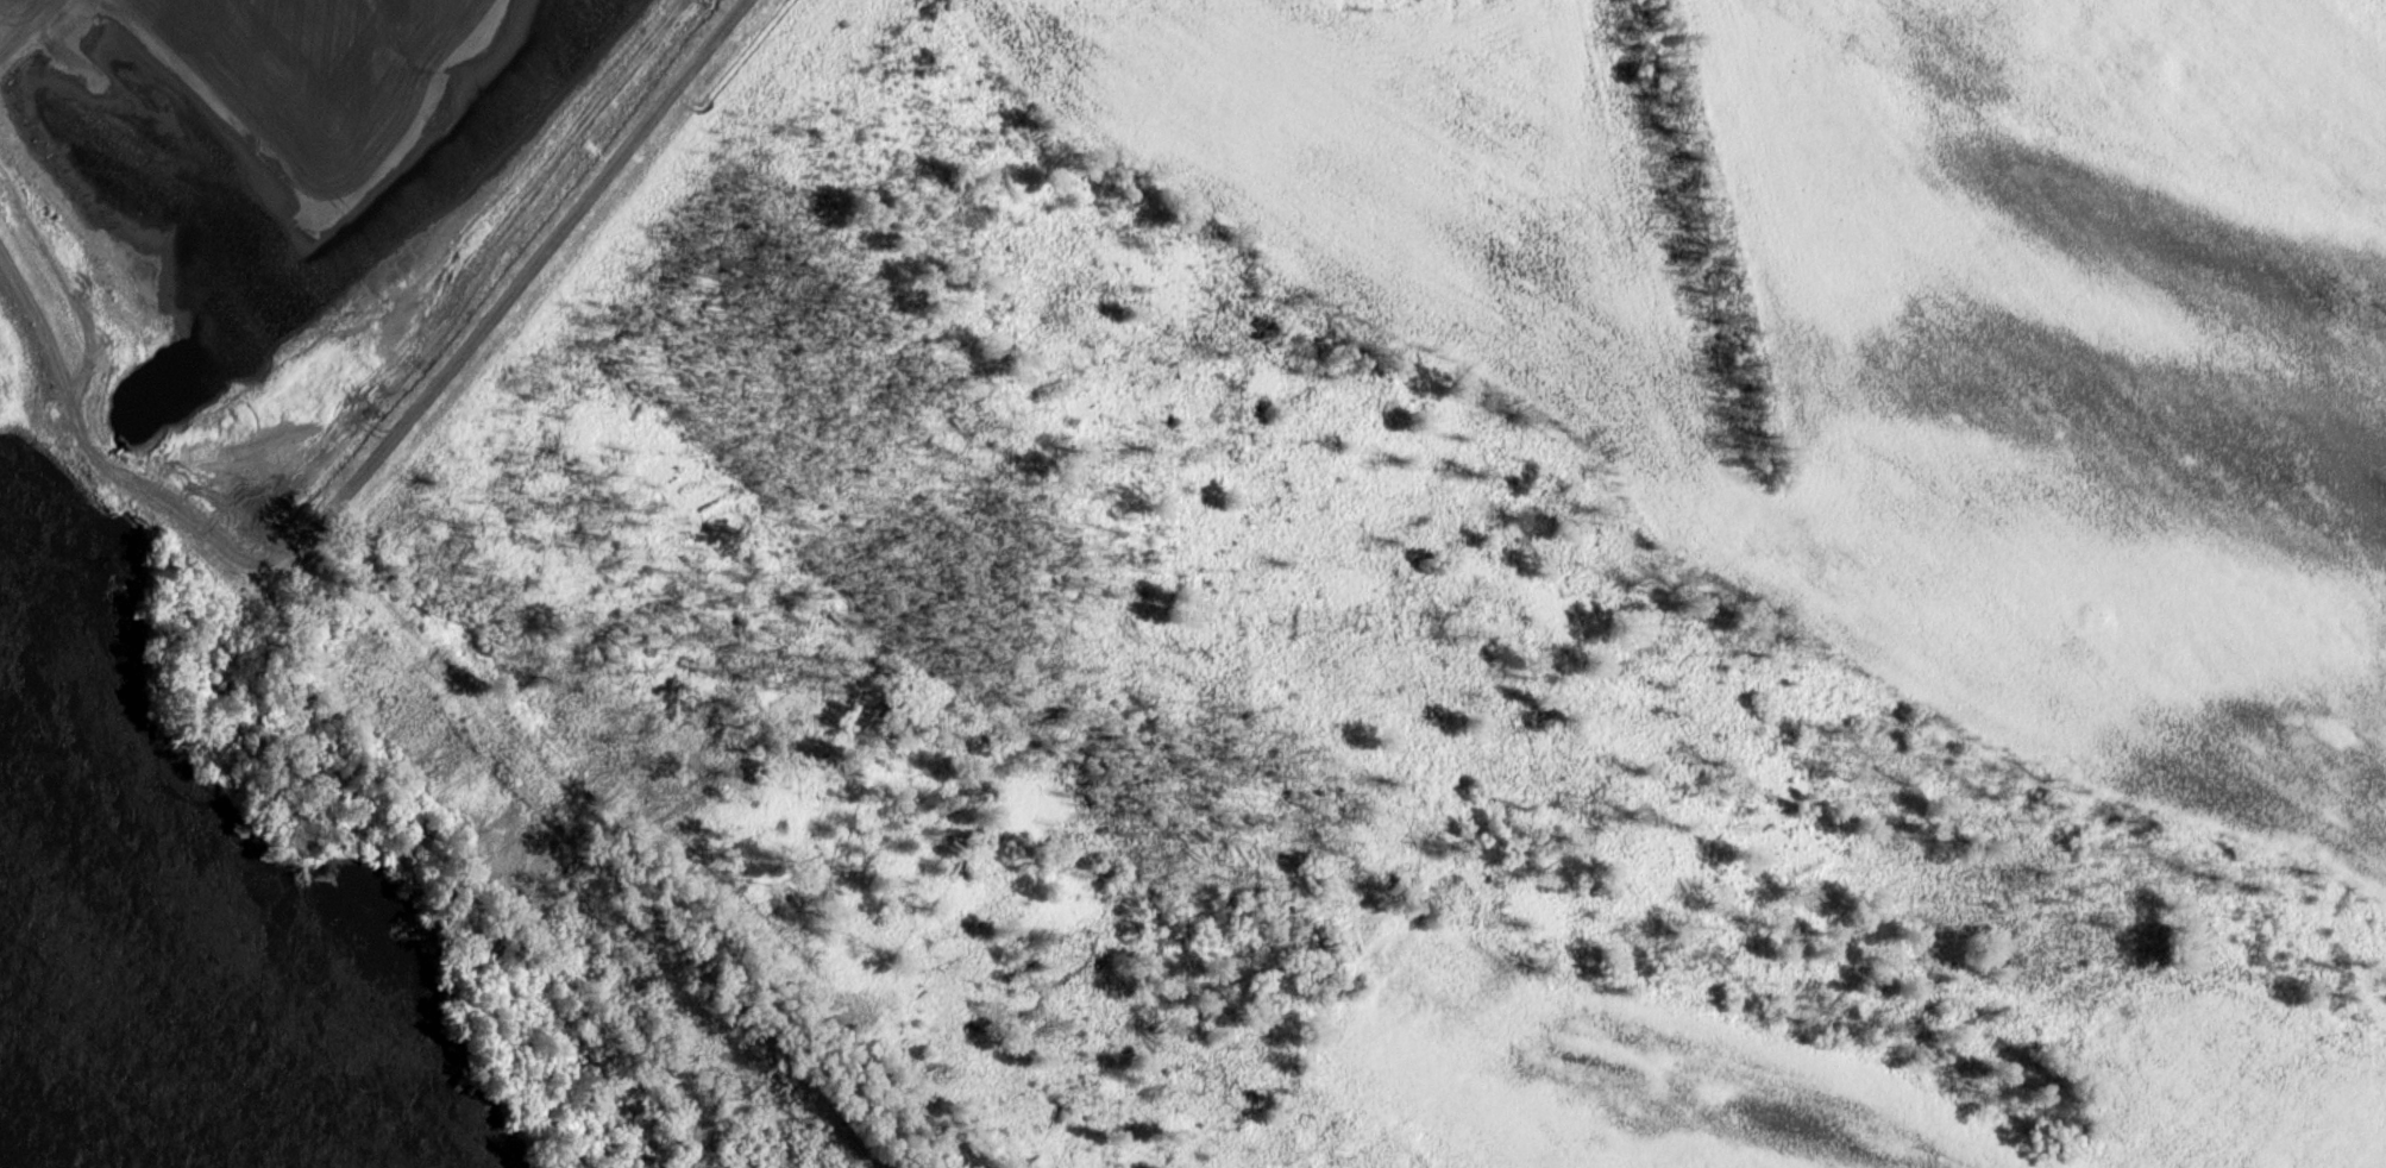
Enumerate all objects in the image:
road: (557, 234)
road: (151, 496)
river: (106, 1011)

